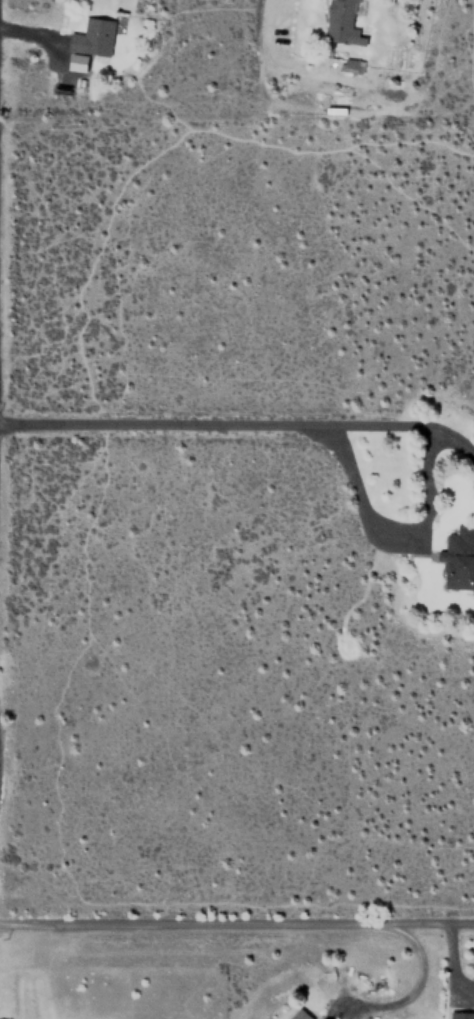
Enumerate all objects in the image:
building: (342, 23)
road: (29, 32)
building: (92, 36)
building: (80, 61)
building: (349, 65)
road: (240, 424)
road: (360, 500)
building: (458, 559)
road: (237, 923)
building: (299, 1015)
building: (461, 1015)

